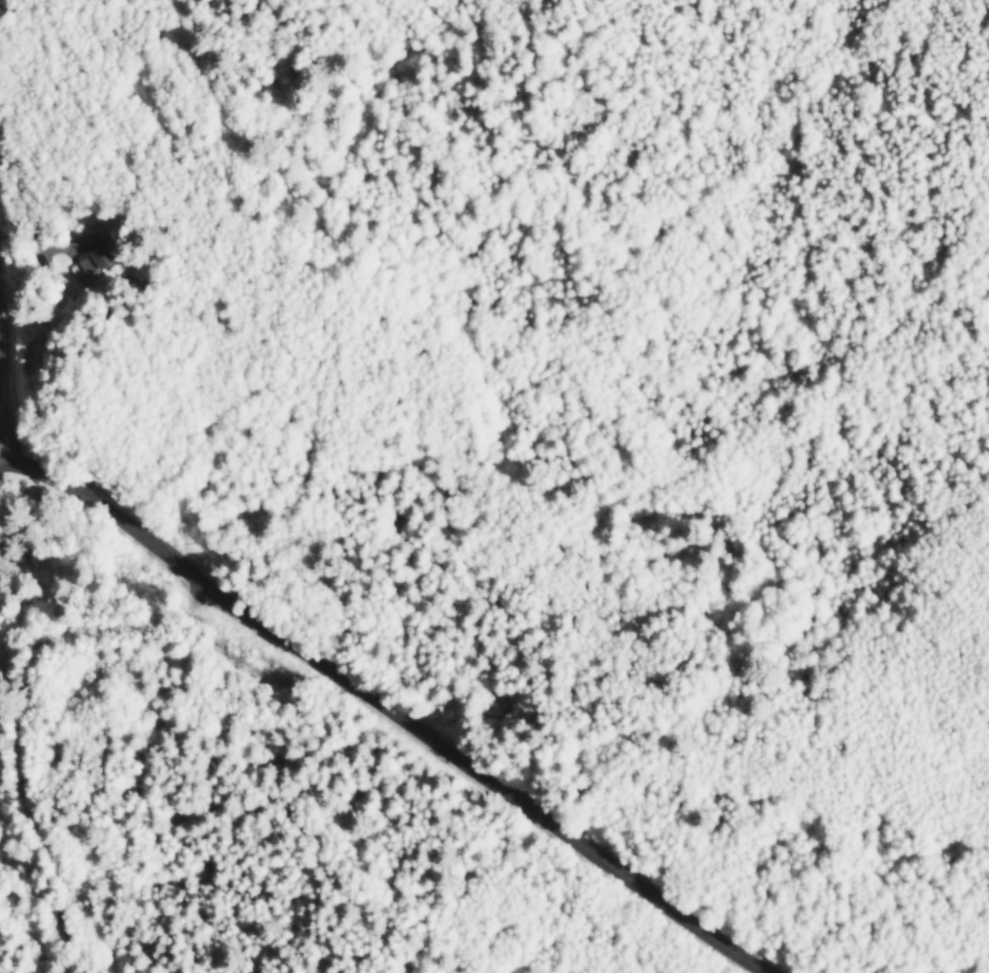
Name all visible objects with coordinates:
building: (98, 254)
building: (80, 269)
road: (388, 707)

